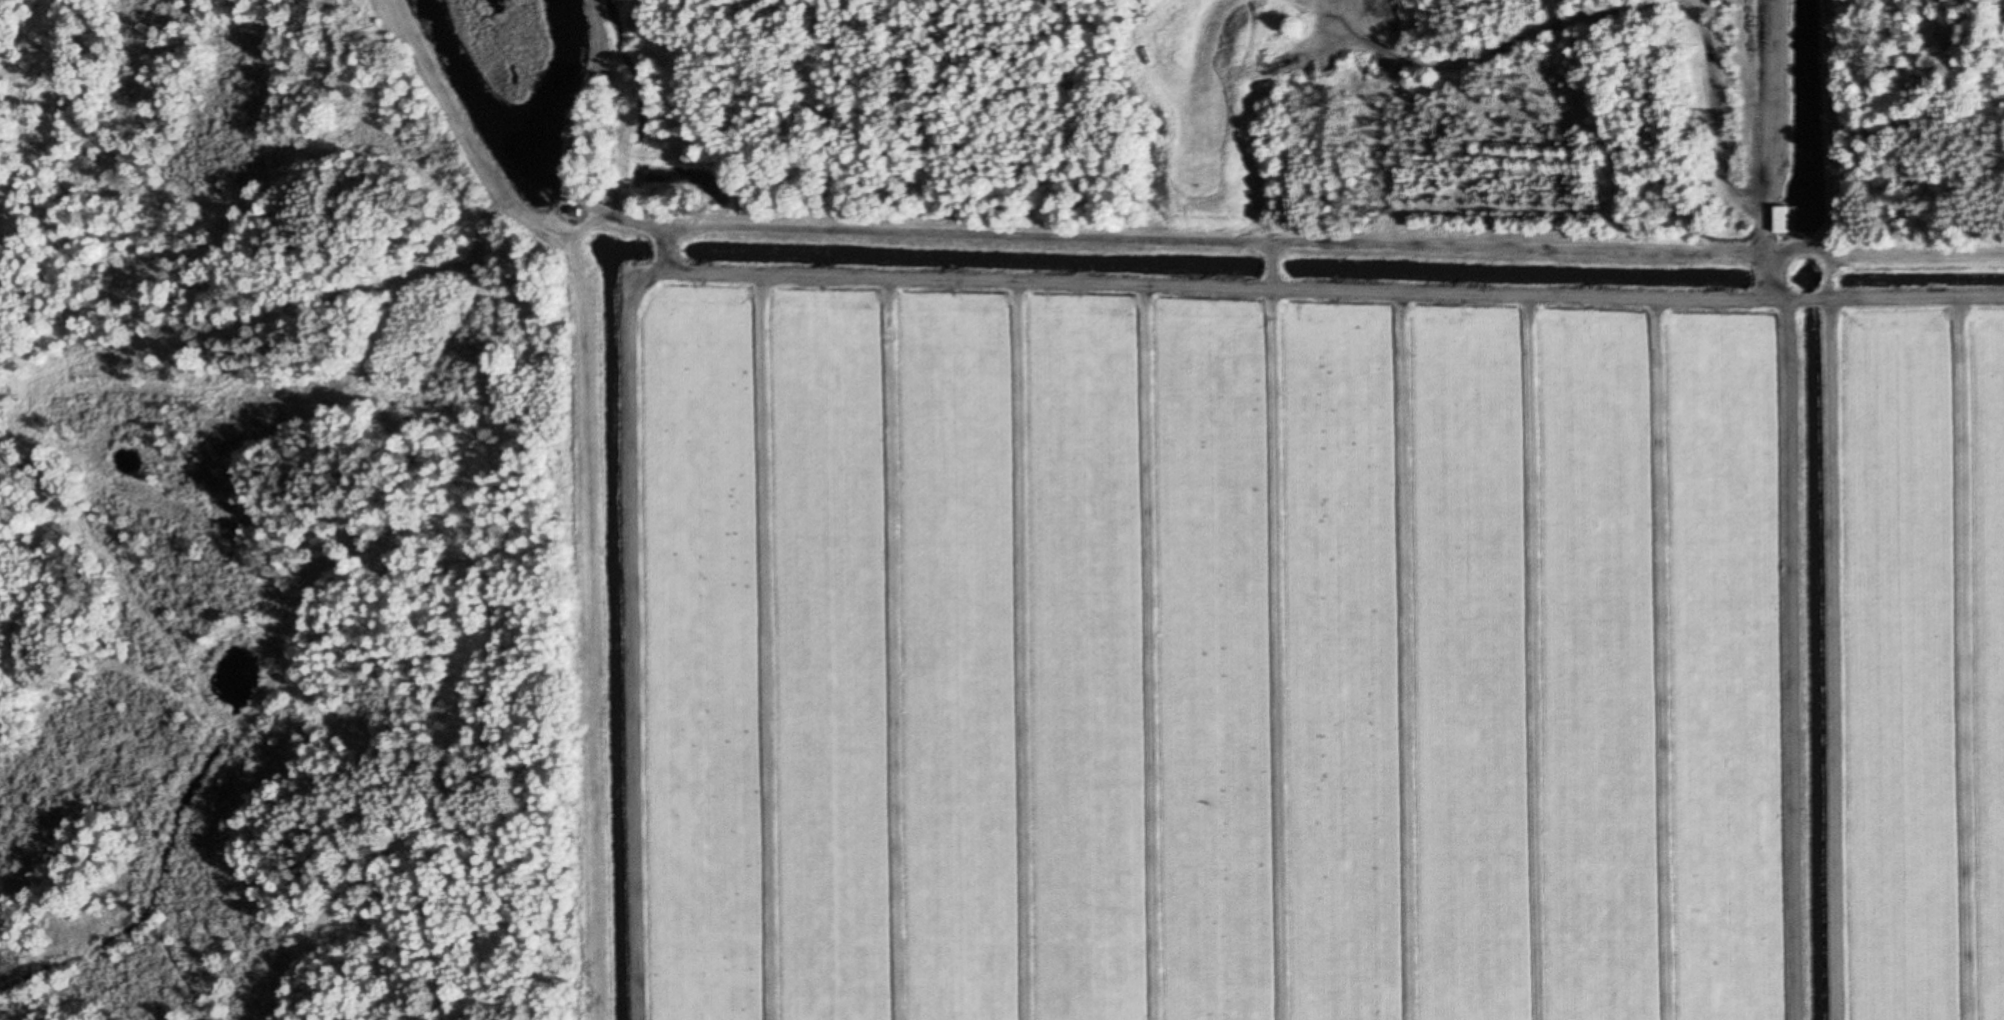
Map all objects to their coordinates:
building: (1784, 219)

